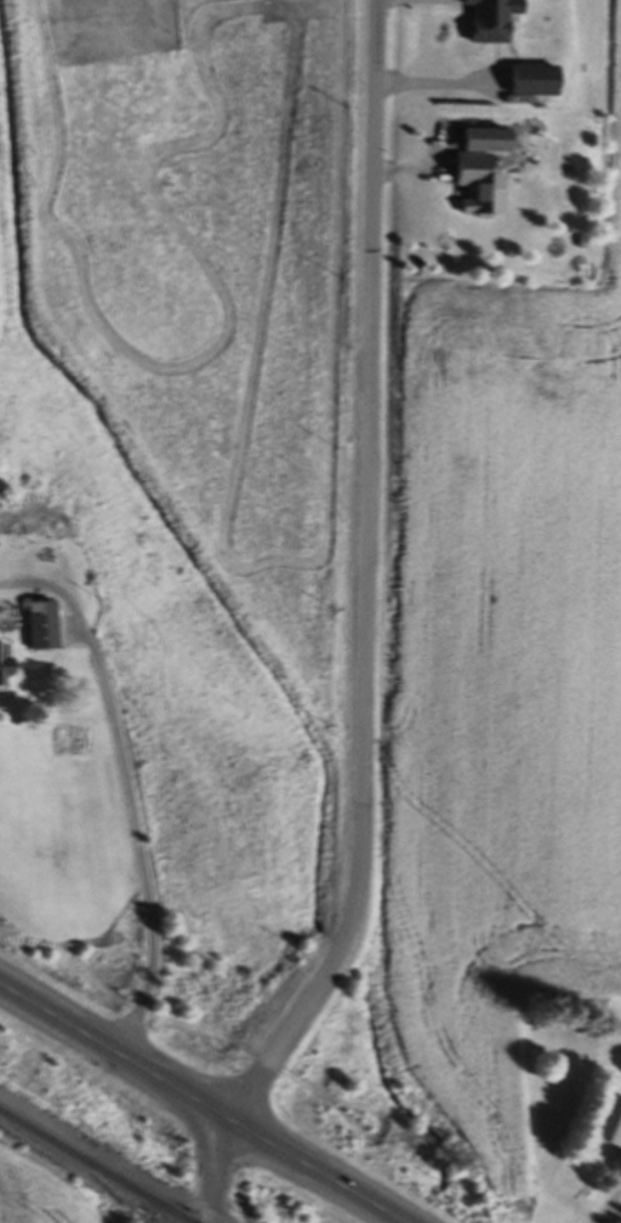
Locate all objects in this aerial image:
building: (496, 21)
building: (537, 84)
building: (486, 173)
building: (11, 542)
building: (45, 629)
road: (366, 629)
building: (6, 671)
road: (126, 791)
road: (200, 1103)
building: (617, 1139)
railway: (93, 1167)
road: (611, 1207)

